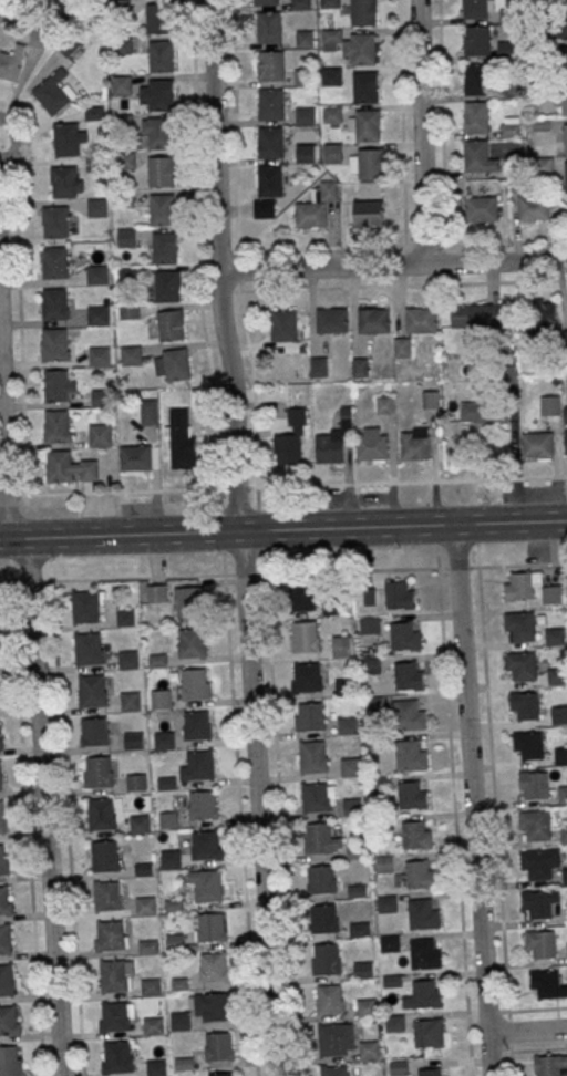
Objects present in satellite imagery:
building: (563, 0)
building: (267, 1)
building: (330, 3)
building: (301, 4)
building: (0, 8)
building: (475, 8)
building: (362, 12)
building: (159, 18)
building: (561, 23)
building: (269, 27)
building: (38, 38)
building: (477, 40)
building: (360, 48)
building: (161, 55)
building: (563, 60)
building: (12, 63)
building: (272, 65)
building: (332, 75)
building: (476, 79)
road: (441, 82)
building: (122, 85)
building: (364, 85)
building: (53, 92)
building: (162, 94)
building: (564, 99)
building: (271, 103)
building: (306, 115)
building: (332, 116)
building: (476, 116)
road: (402, 122)
building: (368, 124)
road: (235, 125)
building: (511, 126)
road: (421, 132)
building: (162, 133)
building: (566, 137)
building: (69, 138)
building: (270, 142)
building: (333, 152)
building: (306, 153)
building: (477, 156)
building: (367, 163)
building: (161, 170)
building: (566, 176)
building: (270, 179)
building: (66, 182)
building: (317, 206)
building: (97, 207)
building: (534, 207)
building: (162, 208)
building: (265, 208)
building: (482, 208)
building: (368, 213)
building: (55, 221)
building: (127, 237)
road: (198, 245)
building: (165, 247)
building: (55, 262)
road: (393, 265)
road: (219, 266)
building: (97, 273)
road: (240, 282)
building: (167, 286)
building: (54, 303)
building: (99, 314)
building: (476, 314)
building: (544, 314)
building: (332, 319)
building: (373, 319)
building: (422, 319)
building: (172, 324)
building: (285, 324)
building: (566, 331)
building: (55, 343)
building: (403, 346)
building: (100, 355)
building: (131, 355)
building: (173, 364)
building: (59, 385)
road: (255, 387)
building: (101, 396)
building: (384, 404)
building: (550, 405)
building: (150, 411)
building: (474, 412)
building: (566, 414)
building: (58, 426)
building: (101, 434)
road: (6, 436)
building: (182, 438)
building: (292, 439)
building: (336, 439)
building: (566, 442)
building: (372, 443)
building: (415, 443)
building: (537, 446)
building: (477, 448)
building: (136, 457)
building: (70, 467)
road: (283, 486)
road: (283, 530)
road: (282, 571)
building: (523, 586)
building: (157, 592)
building: (302, 593)
building: (551, 593)
building: (399, 596)
building: (190, 602)
building: (86, 606)
road: (33, 617)
building: (519, 624)
building: (370, 629)
building: (405, 635)
building: (555, 635)
building: (306, 637)
building: (192, 642)
building: (342, 645)
building: (87, 648)
building: (128, 658)
building: (522, 664)
building: (371, 665)
building: (409, 675)
building: (557, 675)
building: (309, 676)
building: (196, 683)
building: (343, 686)
building: (92, 690)
building: (162, 699)
building: (131, 700)
building: (525, 704)
building: (559, 714)
building: (311, 715)
building: (409, 715)
building: (197, 725)
building: (348, 725)
building: (94, 731)
building: (1, 734)
building: (134, 739)
building: (164, 739)
building: (528, 744)
building: (410, 755)
building: (560, 755)
building: (313, 756)
building: (198, 765)
building: (350, 766)
building: (100, 770)
building: (0, 779)
building: (136, 780)
road: (277, 782)
building: (534, 784)
building: (566, 793)
building: (412, 795)
building: (318, 796)
road: (473, 799)
building: (203, 804)
road: (258, 804)
building: (352, 805)
building: (101, 813)
building: (1, 816)
road: (495, 820)
road: (454, 821)
building: (140, 822)
building: (534, 824)
road: (240, 825)
road: (66, 827)
road: (27, 828)
building: (416, 835)
building: (564, 835)
building: (318, 836)
building: (205, 842)
building: (355, 851)
building: (103, 856)
building: (171, 858)
building: (3, 860)
building: (384, 862)
building: (538, 862)
building: (421, 873)
building: (321, 879)
road: (51, 886)
building: (208, 886)
building: (358, 890)
building: (107, 896)
building: (6, 900)
building: (386, 902)
building: (538, 902)
building: (145, 904)
building: (423, 914)
building: (323, 917)
building: (212, 927)
building: (359, 929)
building: (110, 934)
building: (6, 939)
building: (175, 941)
building: (390, 942)
building: (539, 943)
building: (148, 945)
building: (566, 952)
building: (424, 954)
building: (327, 958)
building: (214, 966)
building: (363, 970)
building: (114, 974)
building: (7, 979)
building: (391, 980)
building: (547, 984)
building: (150, 985)
building: (426, 994)
building: (330, 997)
building: (210, 1006)
building: (367, 1007)
road: (537, 1007)
building: (115, 1015)
building: (8, 1017)
building: (181, 1020)
building: (393, 1022)
building: (153, 1024)
road: (527, 1030)
building: (429, 1033)
building: (336, 1038)
building: (219, 1045)
building: (369, 1049)
road: (538, 1049)
building: (116, 1056)
building: (9, 1061)
building: (550, 1065)
building: (156, 1066)
building: (396, 1067)
building: (333, 1070)
building: (429, 1072)
building: (221, 1074)

